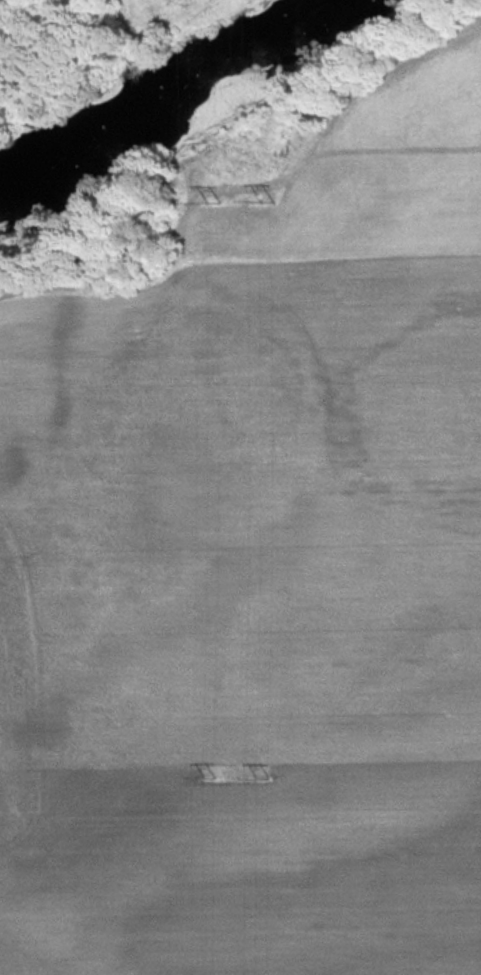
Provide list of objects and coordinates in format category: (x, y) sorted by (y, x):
river: (164, 85)
power tower: (207, 198)
power tower: (260, 198)
power tower: (205, 774)
power tower: (261, 776)

